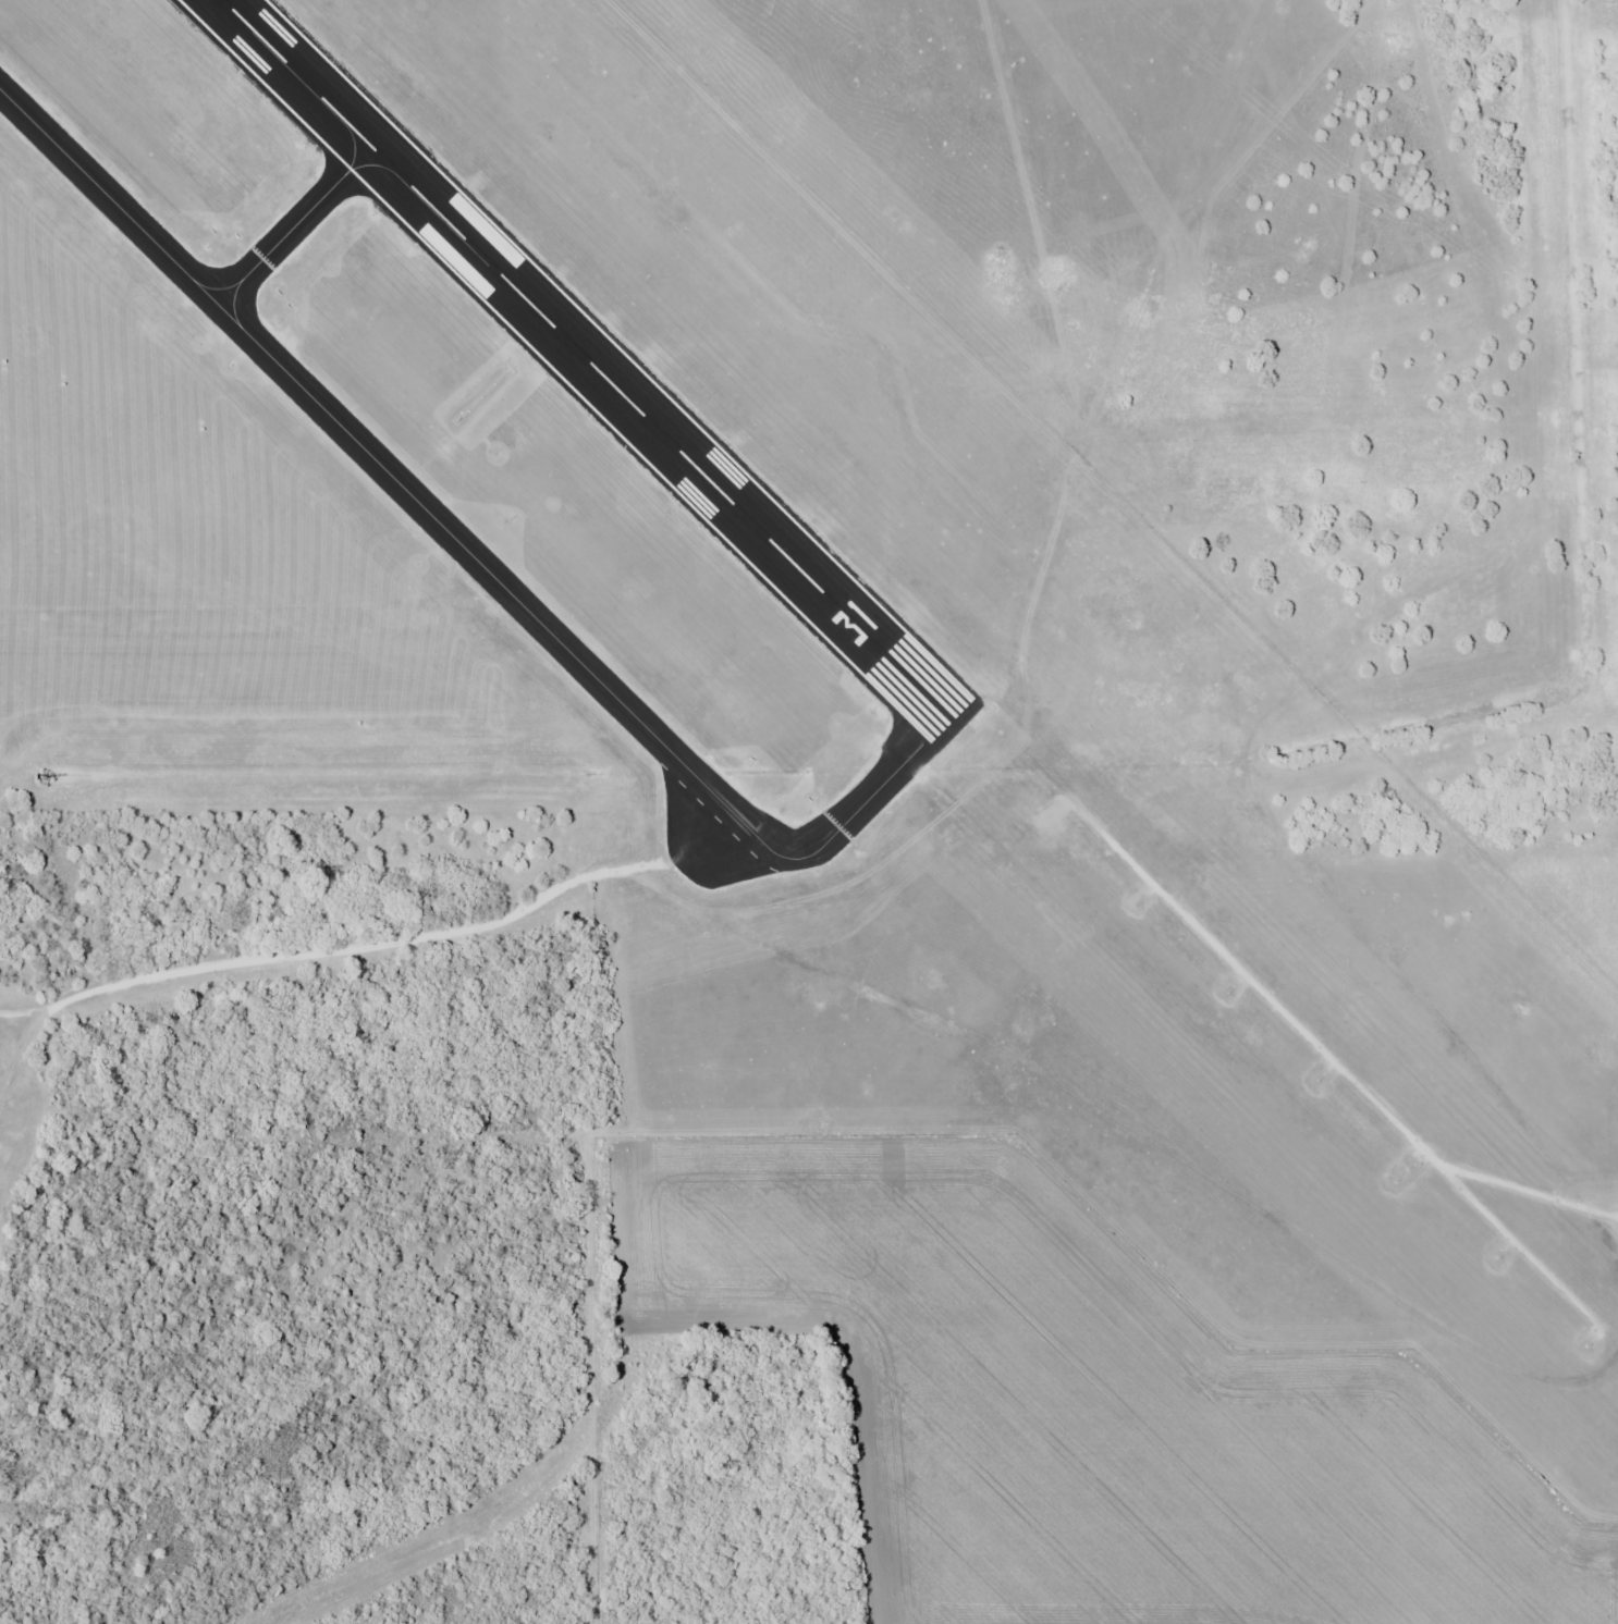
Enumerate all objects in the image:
airport taxiway: (298, 235)
airport runway: (586, 362)
airport: (887, 553)
airport taxiway: (463, 554)
road: (312, 949)

